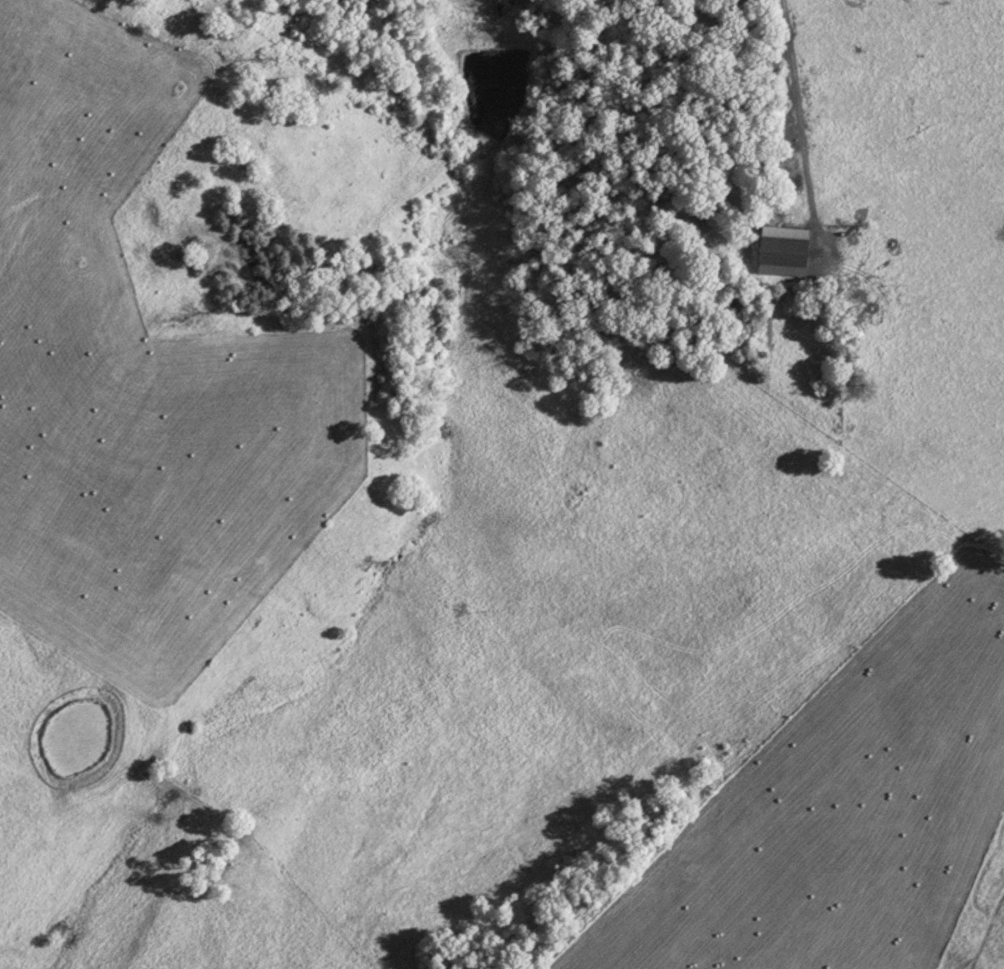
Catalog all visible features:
building: (780, 251)

